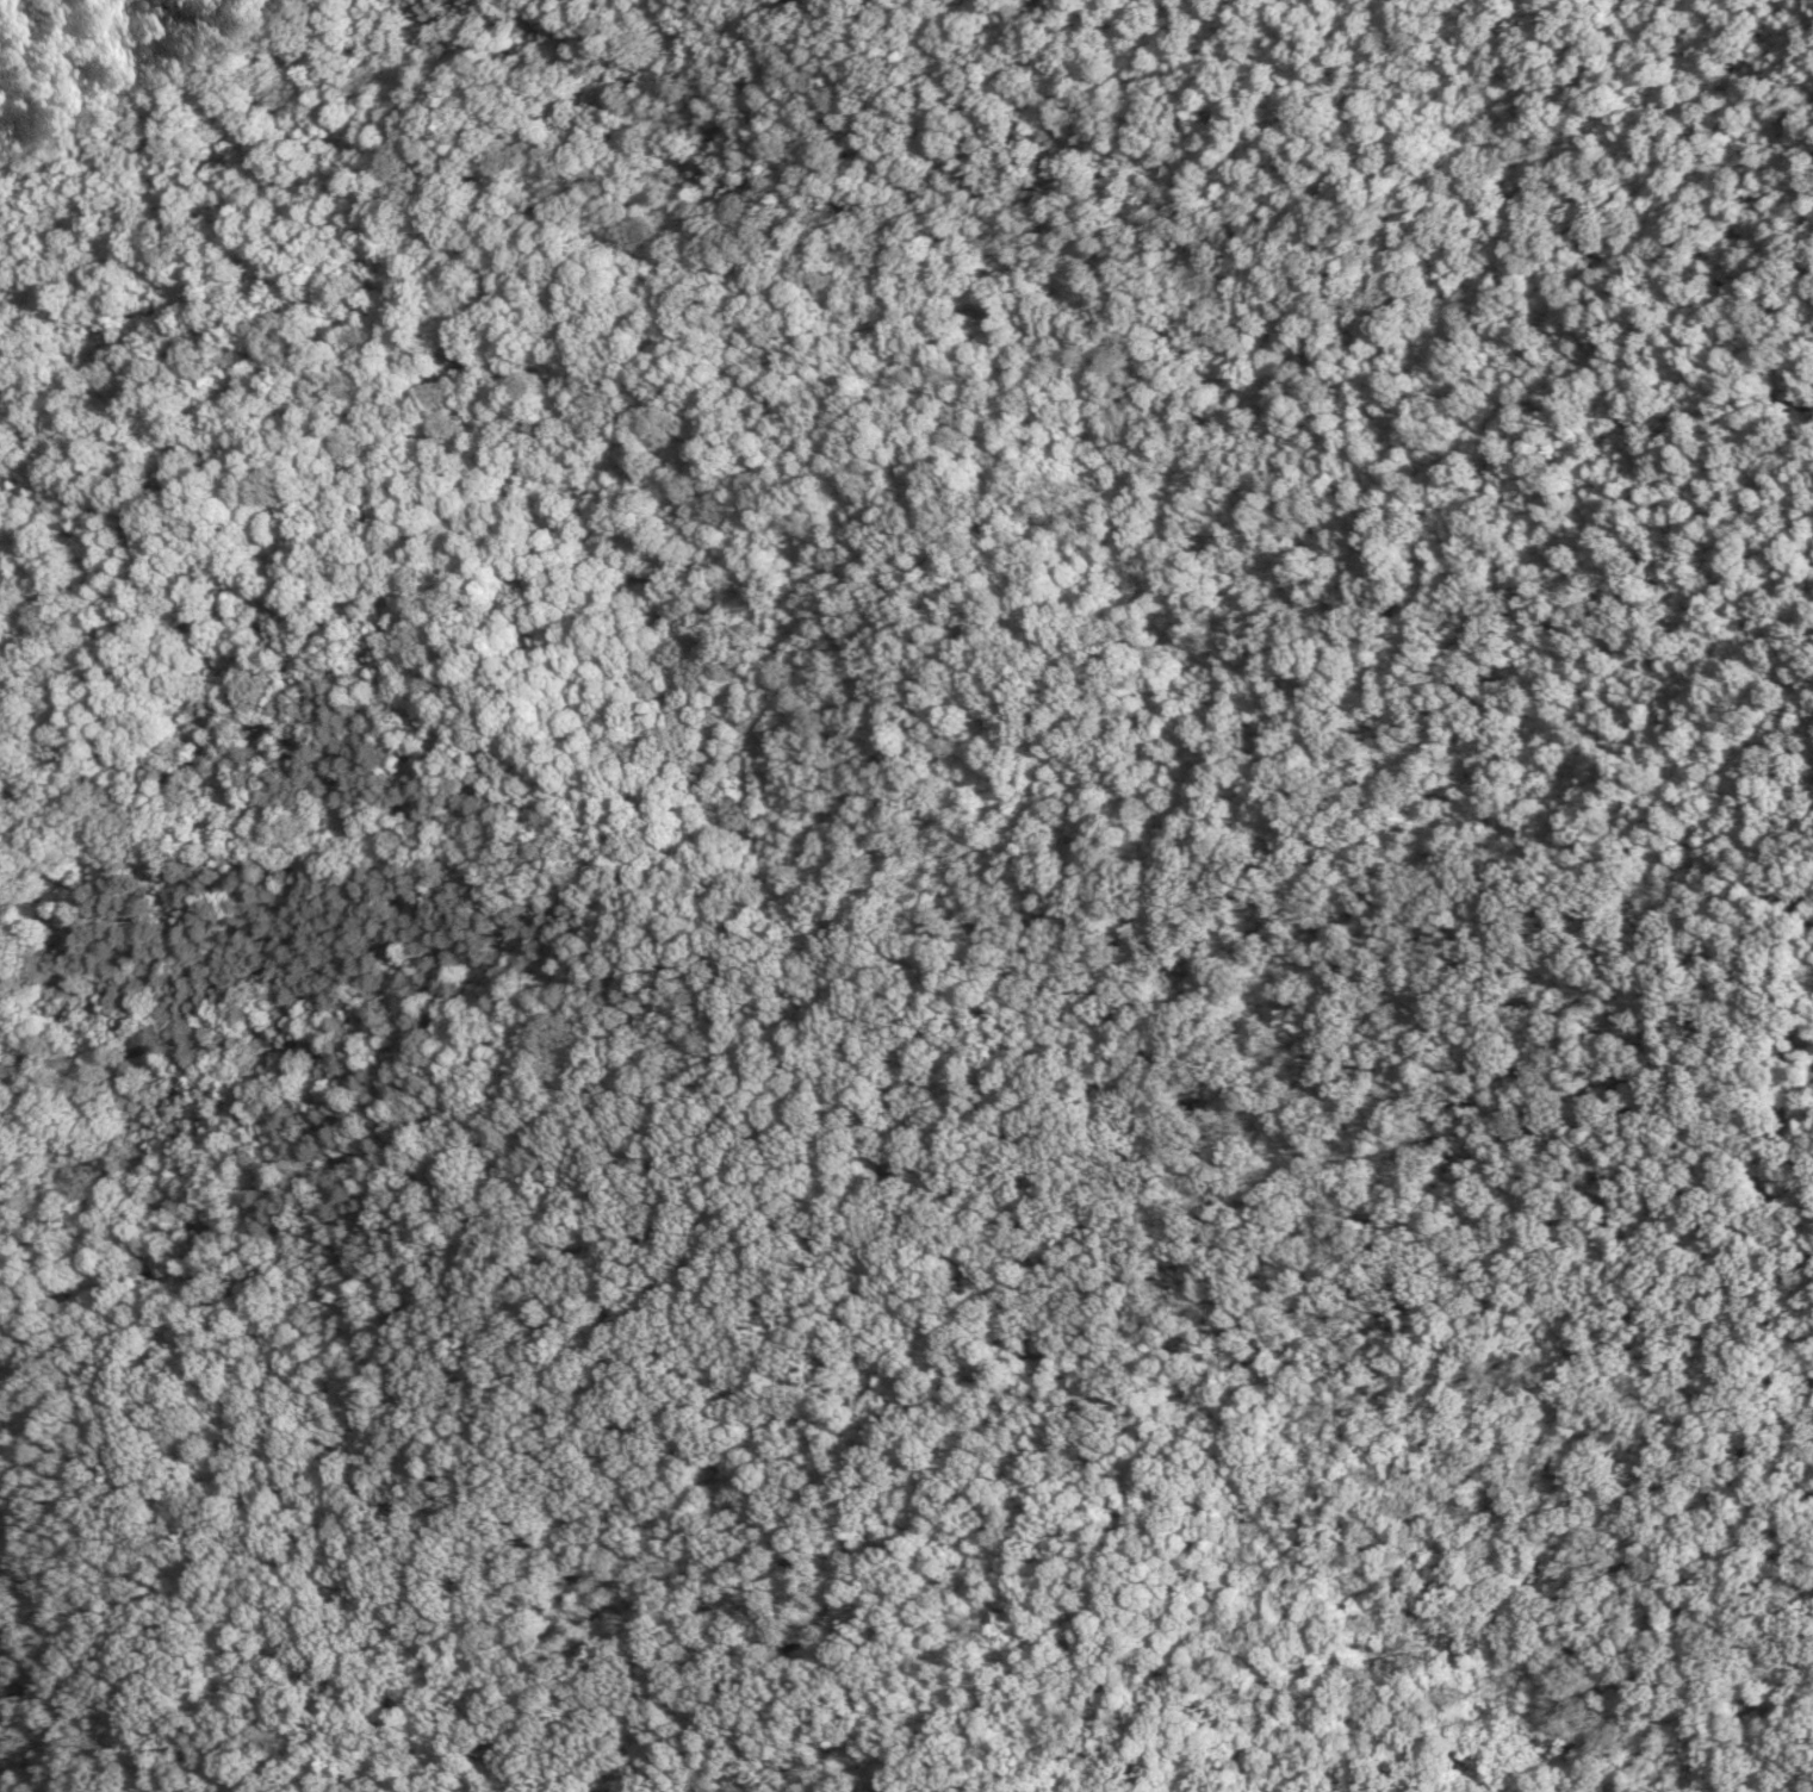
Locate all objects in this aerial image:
park: (906, 896)
road: (64, 1364)
road: (1364, 1417)

